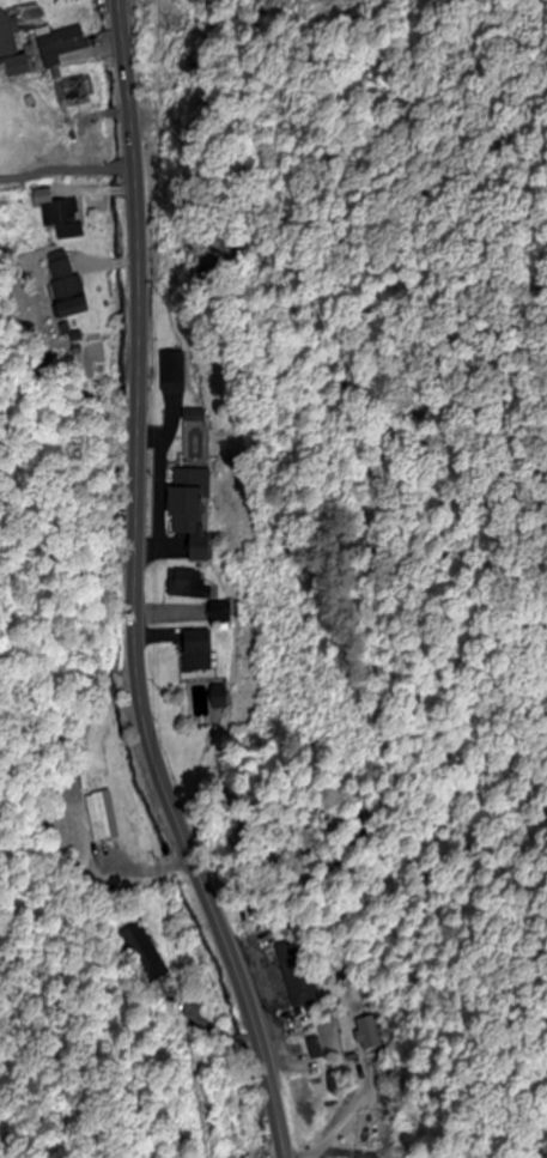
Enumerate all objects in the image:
building: (7, 36)
building: (59, 44)
building: (72, 92)
road: (67, 170)
building: (190, 513)
building: (184, 586)
road: (135, 590)
building: (218, 617)
building: (195, 653)
building: (217, 703)
building: (101, 818)
park: (275, 847)
building: (303, 981)
building: (366, 1033)

